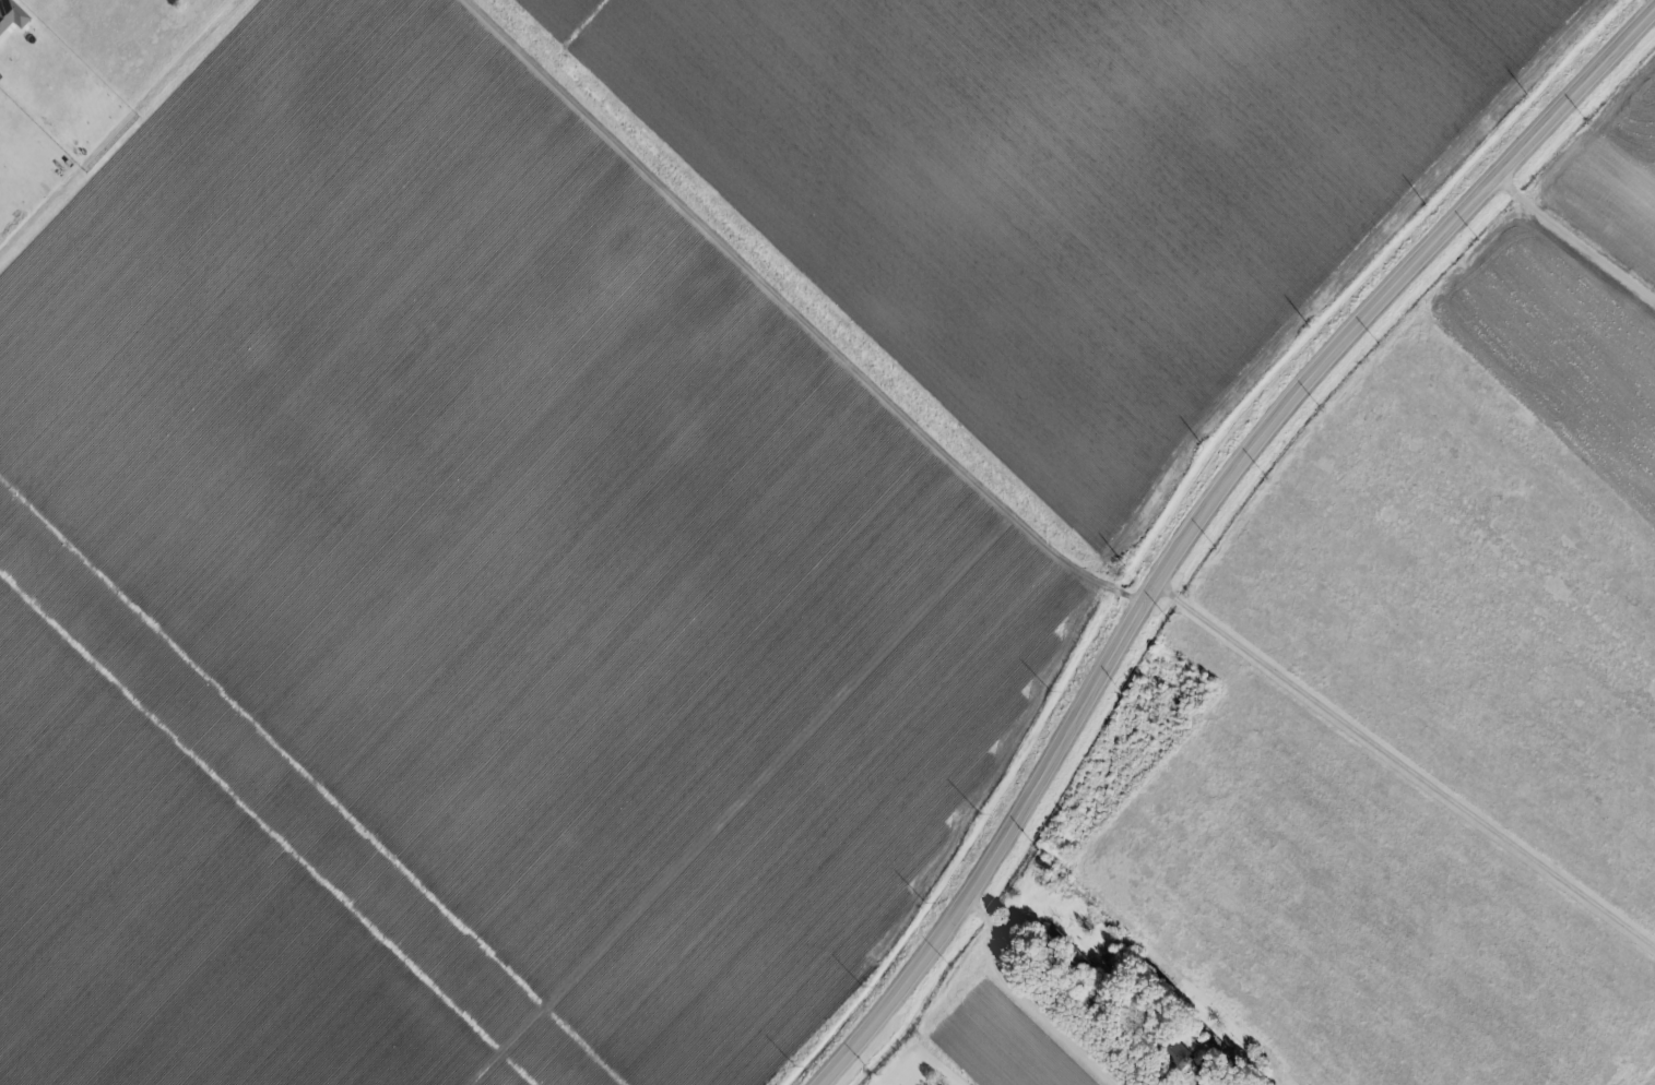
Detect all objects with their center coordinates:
building: (11, 14)
road: (1582, 222)
road: (980, 449)
road: (1195, 518)
road: (1407, 756)
road: (1016, 1000)
building: (1181, 1056)
road: (841, 1075)

